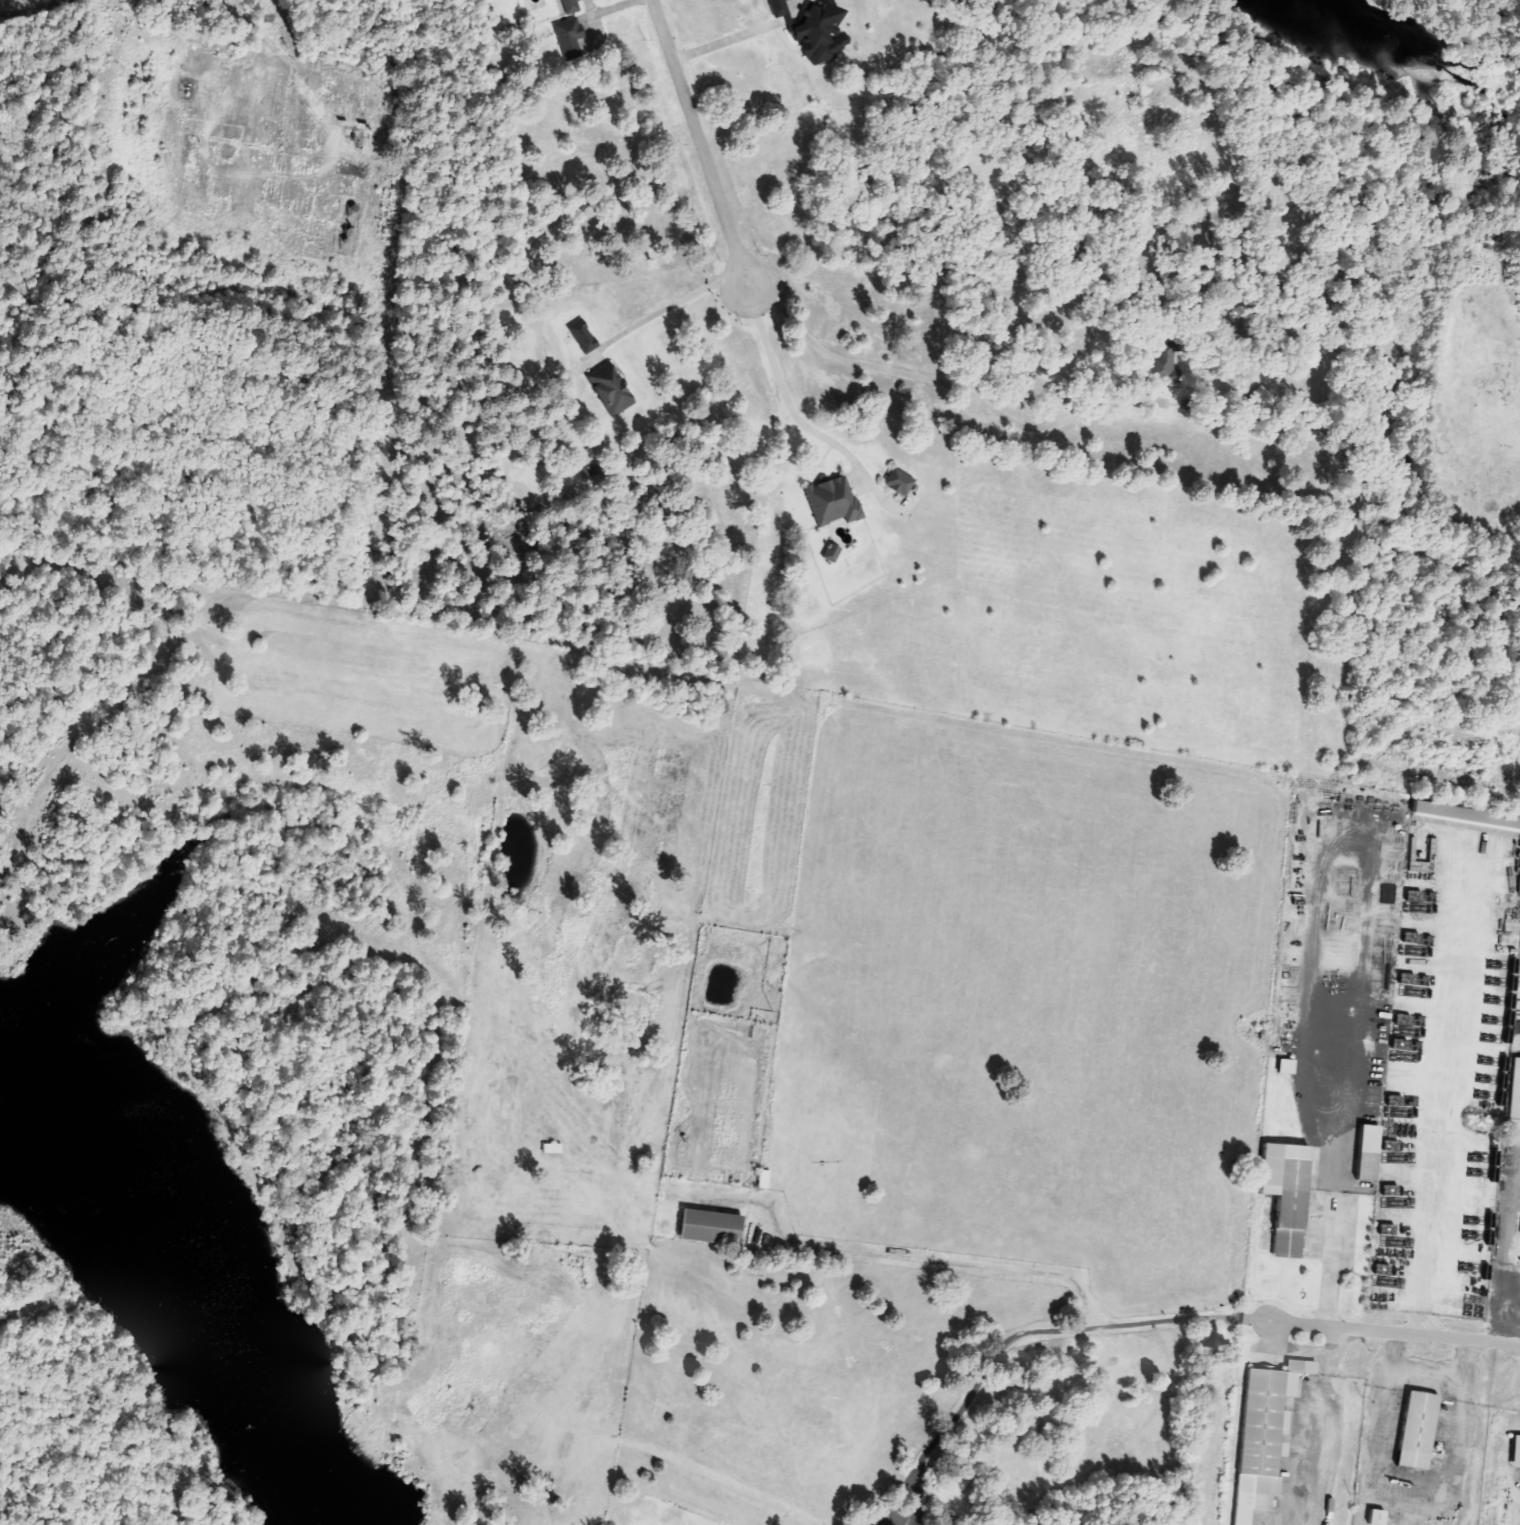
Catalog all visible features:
building: (570, 6)
building: (779, 7)
building: (818, 33)
building: (567, 37)
road: (699, 144)
building: (581, 335)
building: (1158, 365)
road: (783, 387)
building: (609, 389)
building: (902, 482)
building: (836, 502)
building: (834, 553)
building: (1467, 815)
building: (1389, 894)
building: (1517, 1092)
building: (550, 1147)
building: (1367, 1151)
building: (767, 1180)
building: (1285, 1191)
building: (709, 1227)
road: (990, 1268)
road: (1394, 1333)
road: (968, 1399)
road: (1205, 1416)
building: (1416, 1428)
building: (1261, 1438)
road: (724, 1481)
building: (942, 1521)

